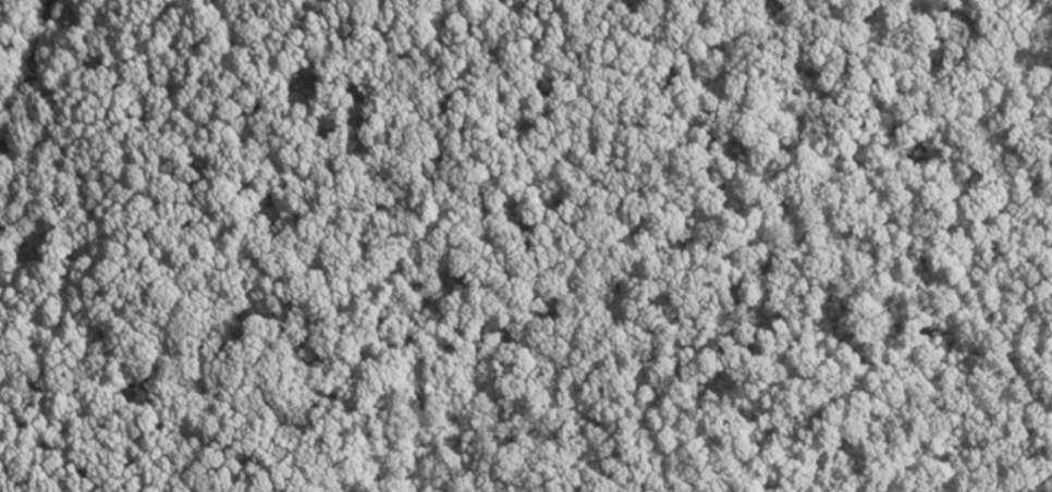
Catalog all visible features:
road: (28, 75)

